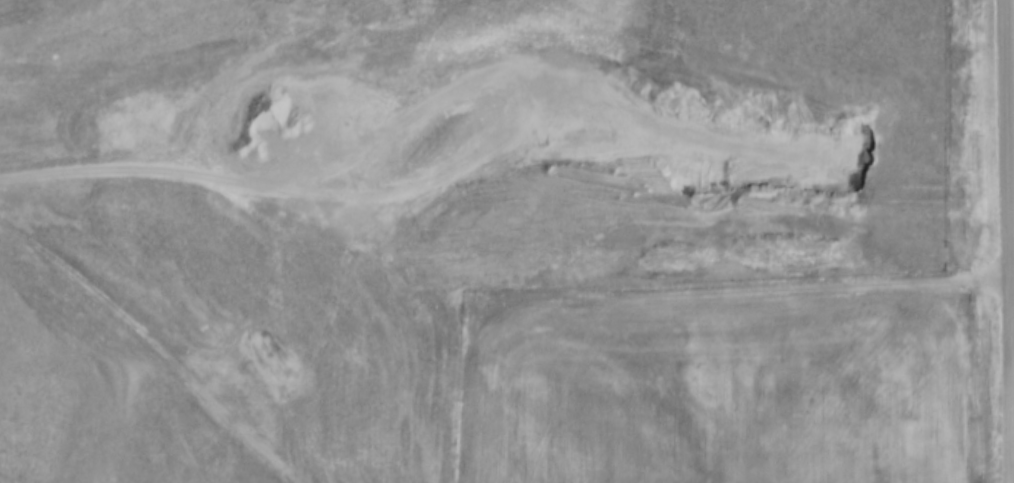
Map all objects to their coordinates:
road: (244, 180)
quarry: (344, 212)
road: (1011, 241)
road: (745, 293)

